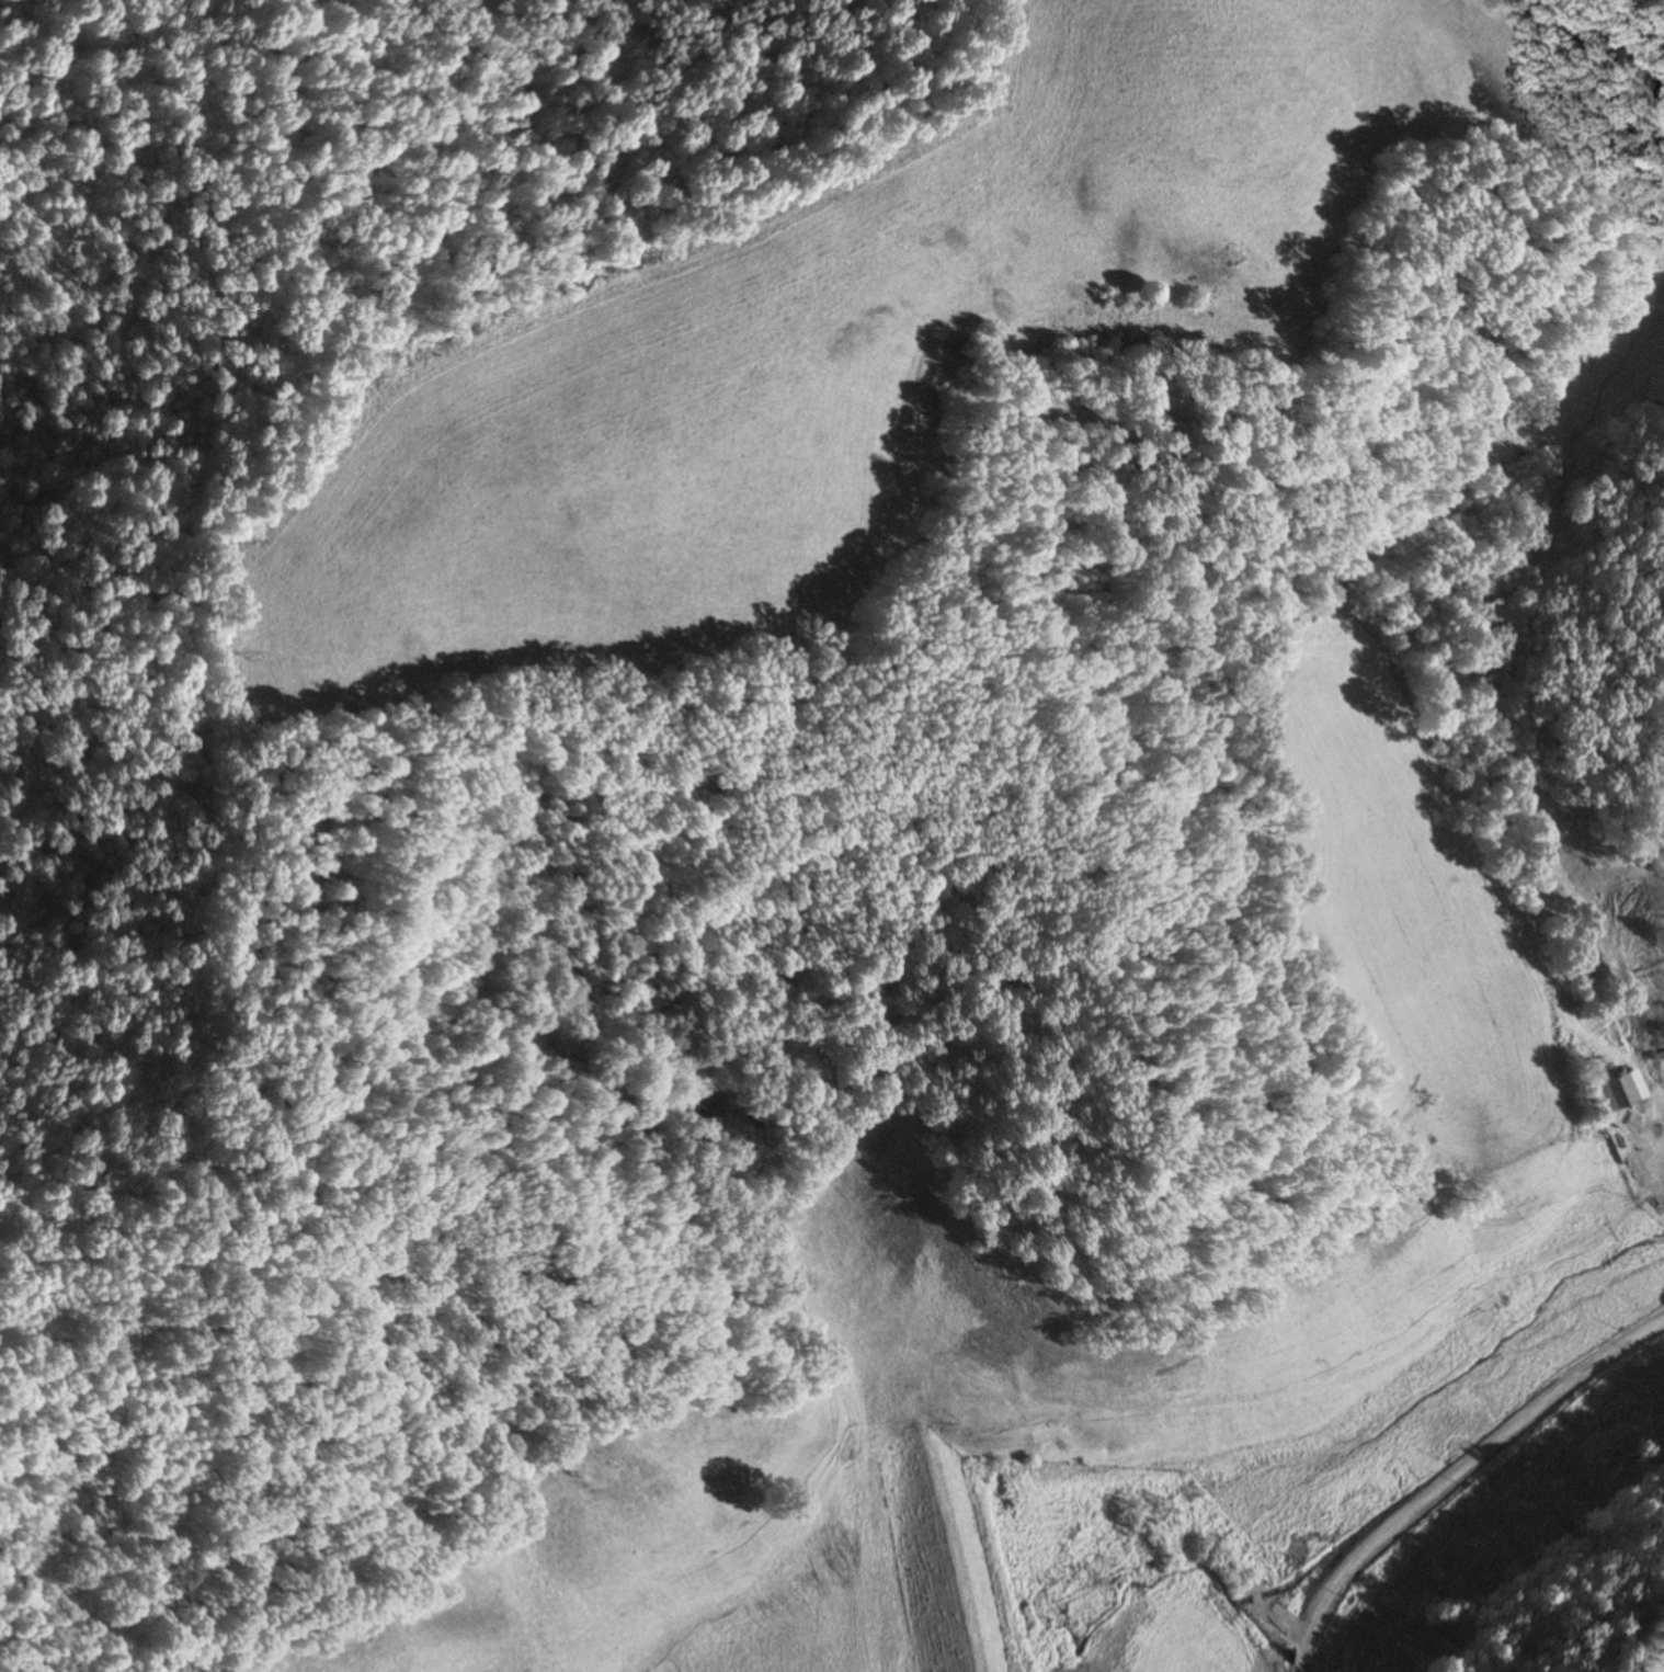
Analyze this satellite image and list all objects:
building: (1618, 1093)
road: (1452, 1468)

